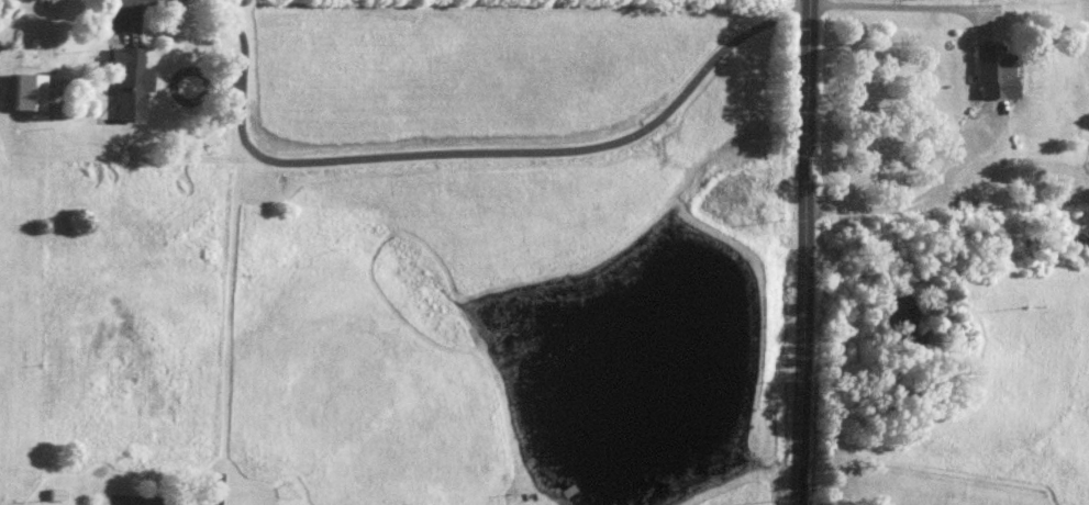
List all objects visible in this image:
building: (1000, 70)
building: (137, 81)
building: (35, 91)
road: (993, 104)
road: (554, 149)
road: (808, 251)
building: (64, 494)
road: (159, 503)

